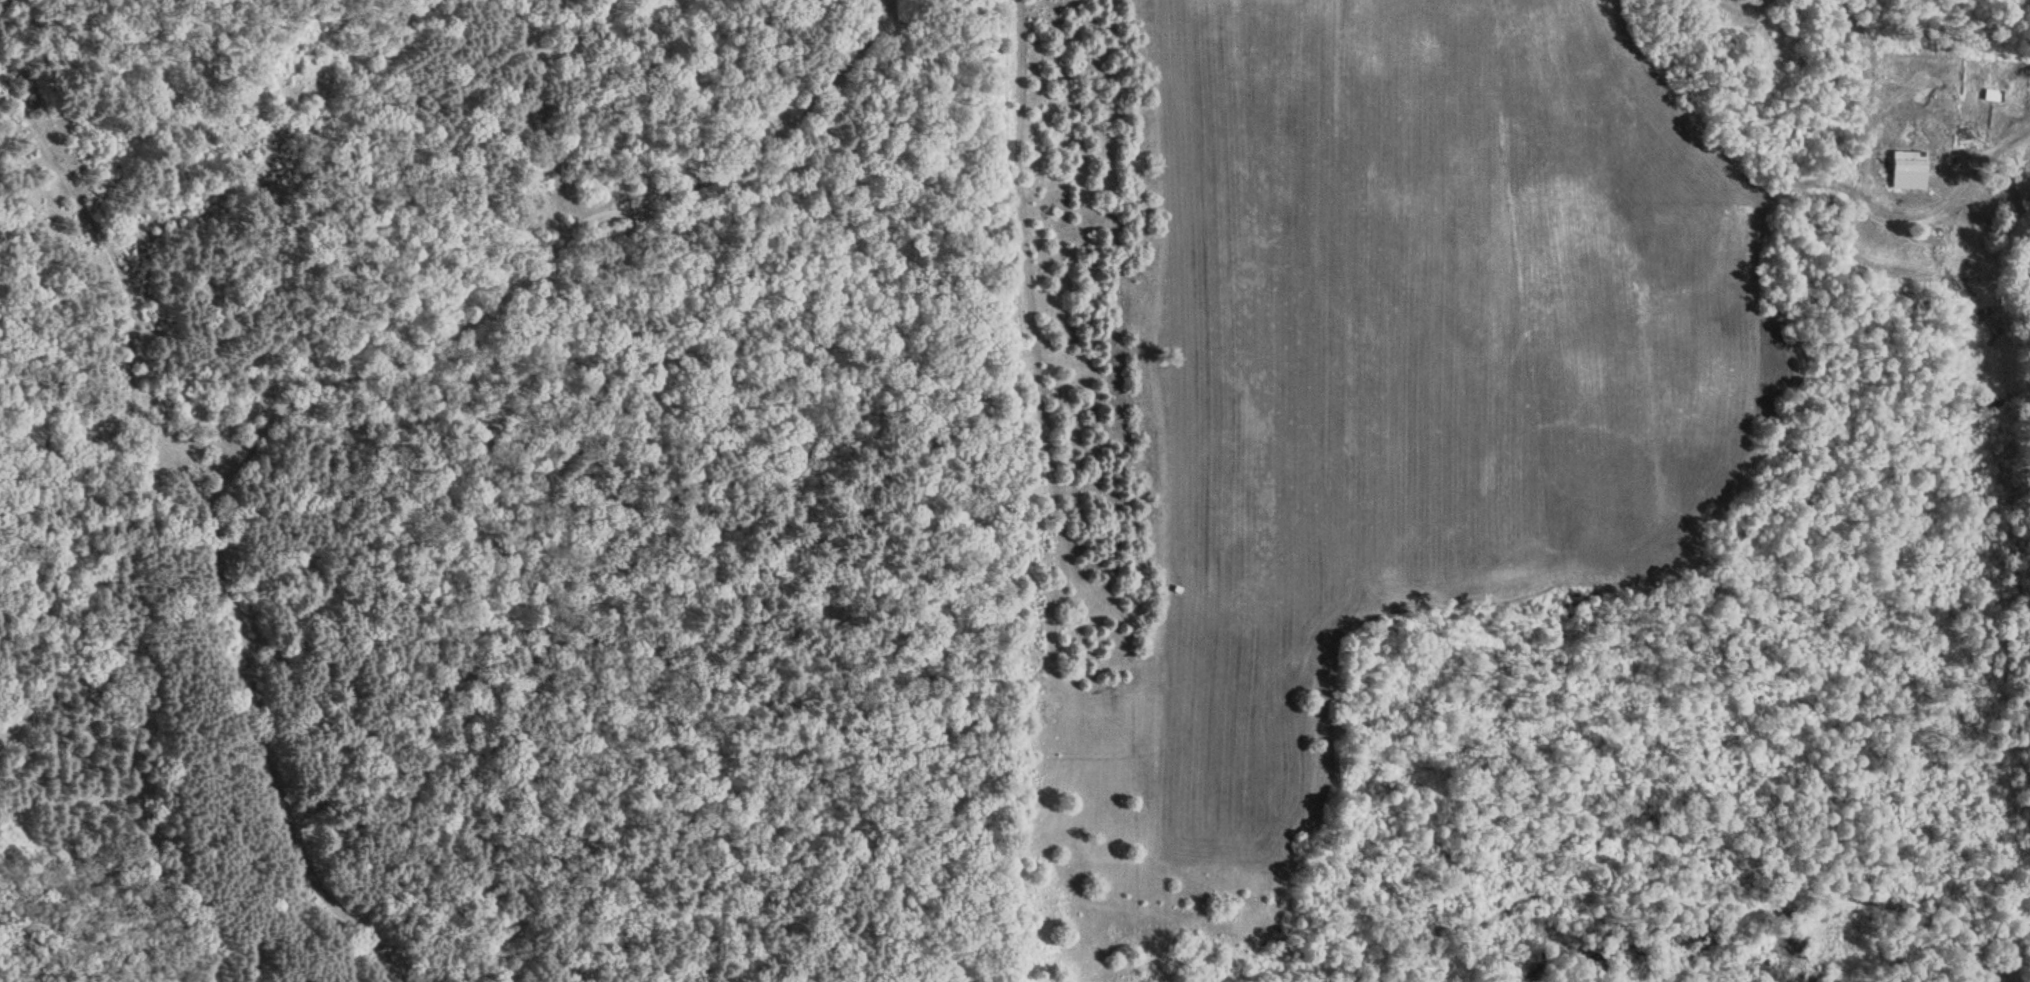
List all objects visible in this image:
road: (2011, 131)
road: (482, 307)

